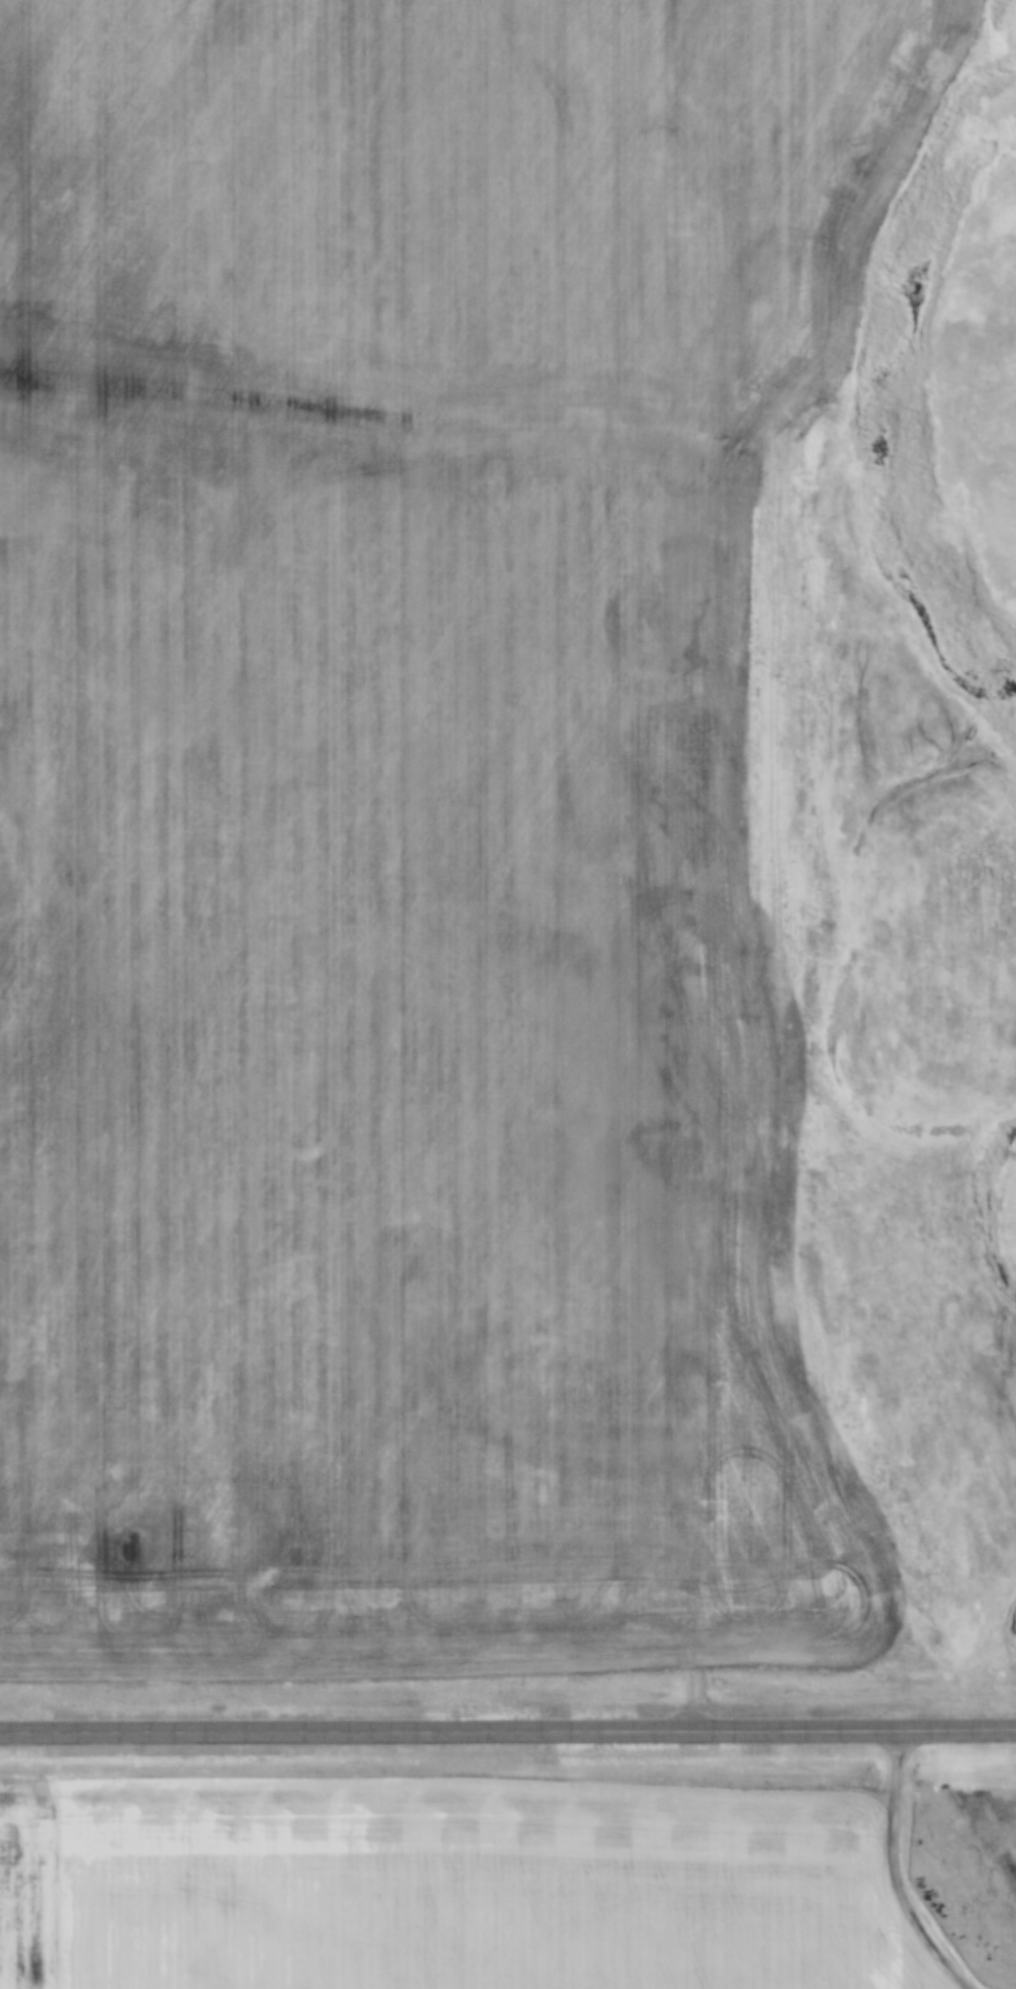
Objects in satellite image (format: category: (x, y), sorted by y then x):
road: (508, 1724)
road: (906, 1872)

